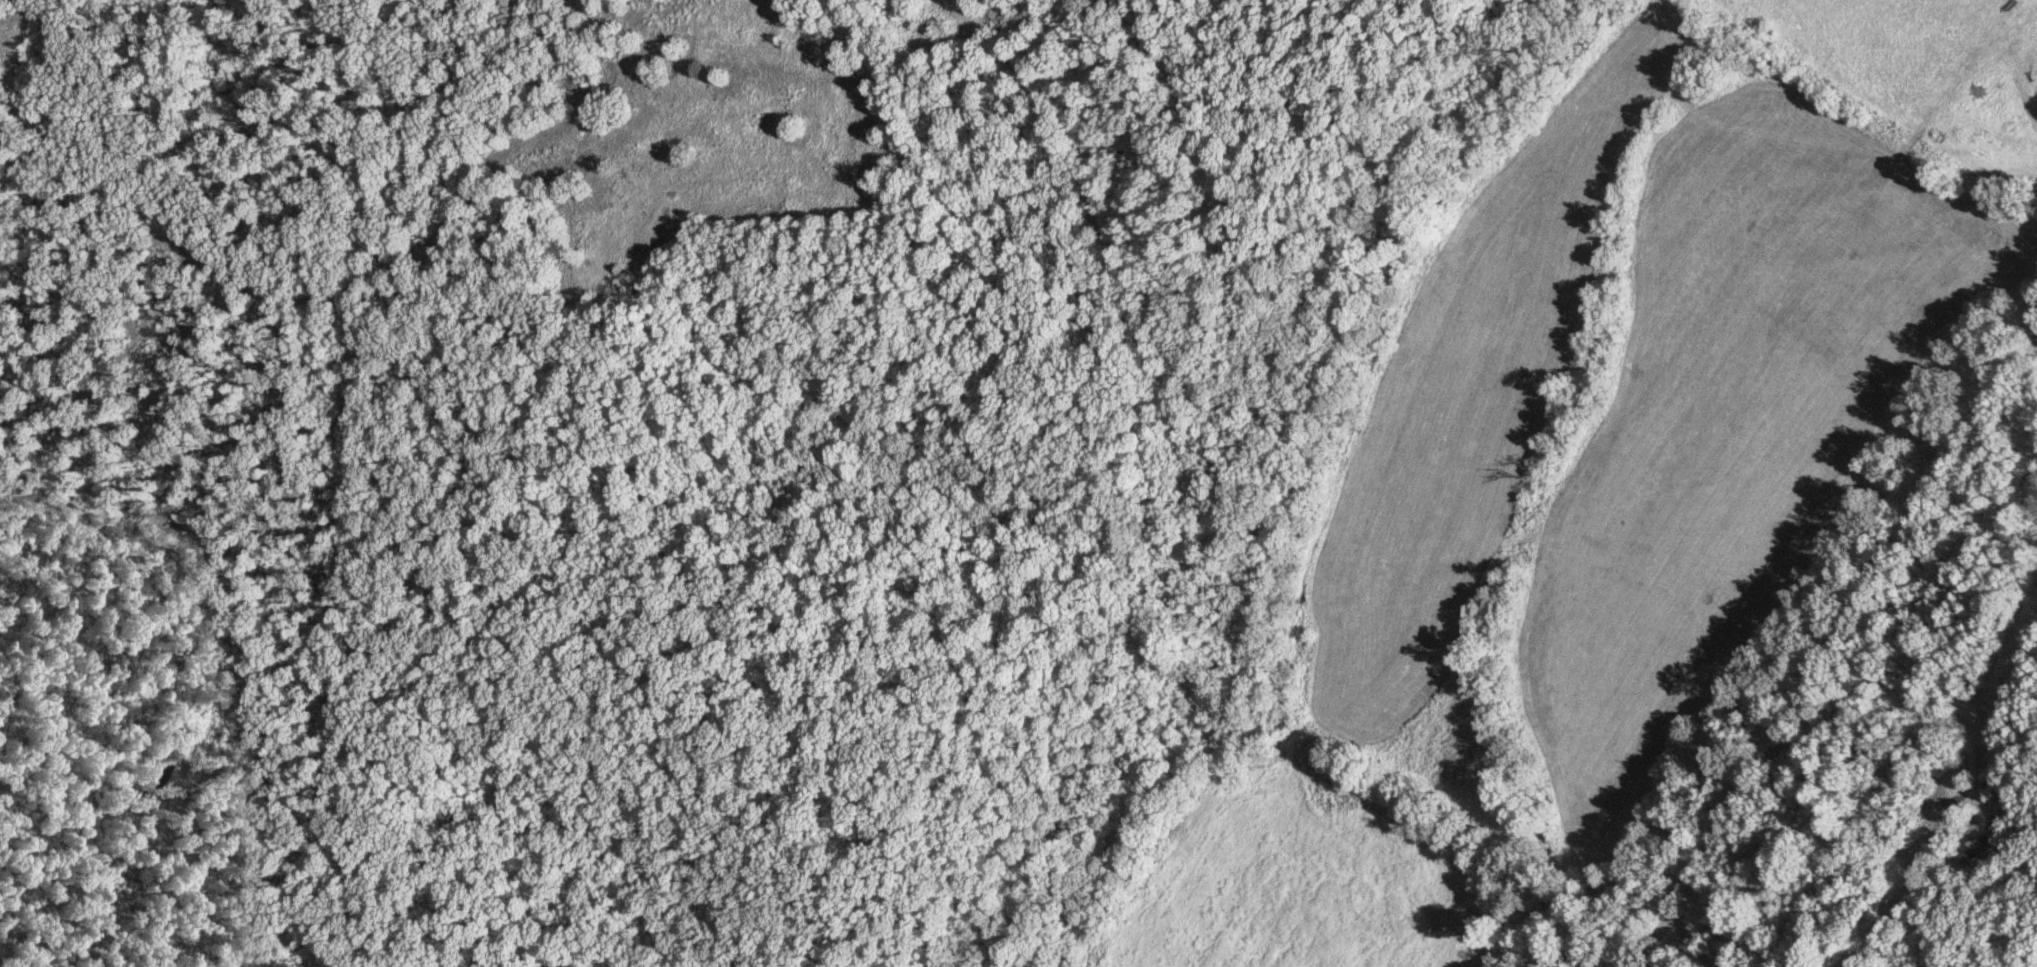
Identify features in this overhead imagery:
road: (2027, 342)
road: (1832, 640)
building: (1976, 848)

